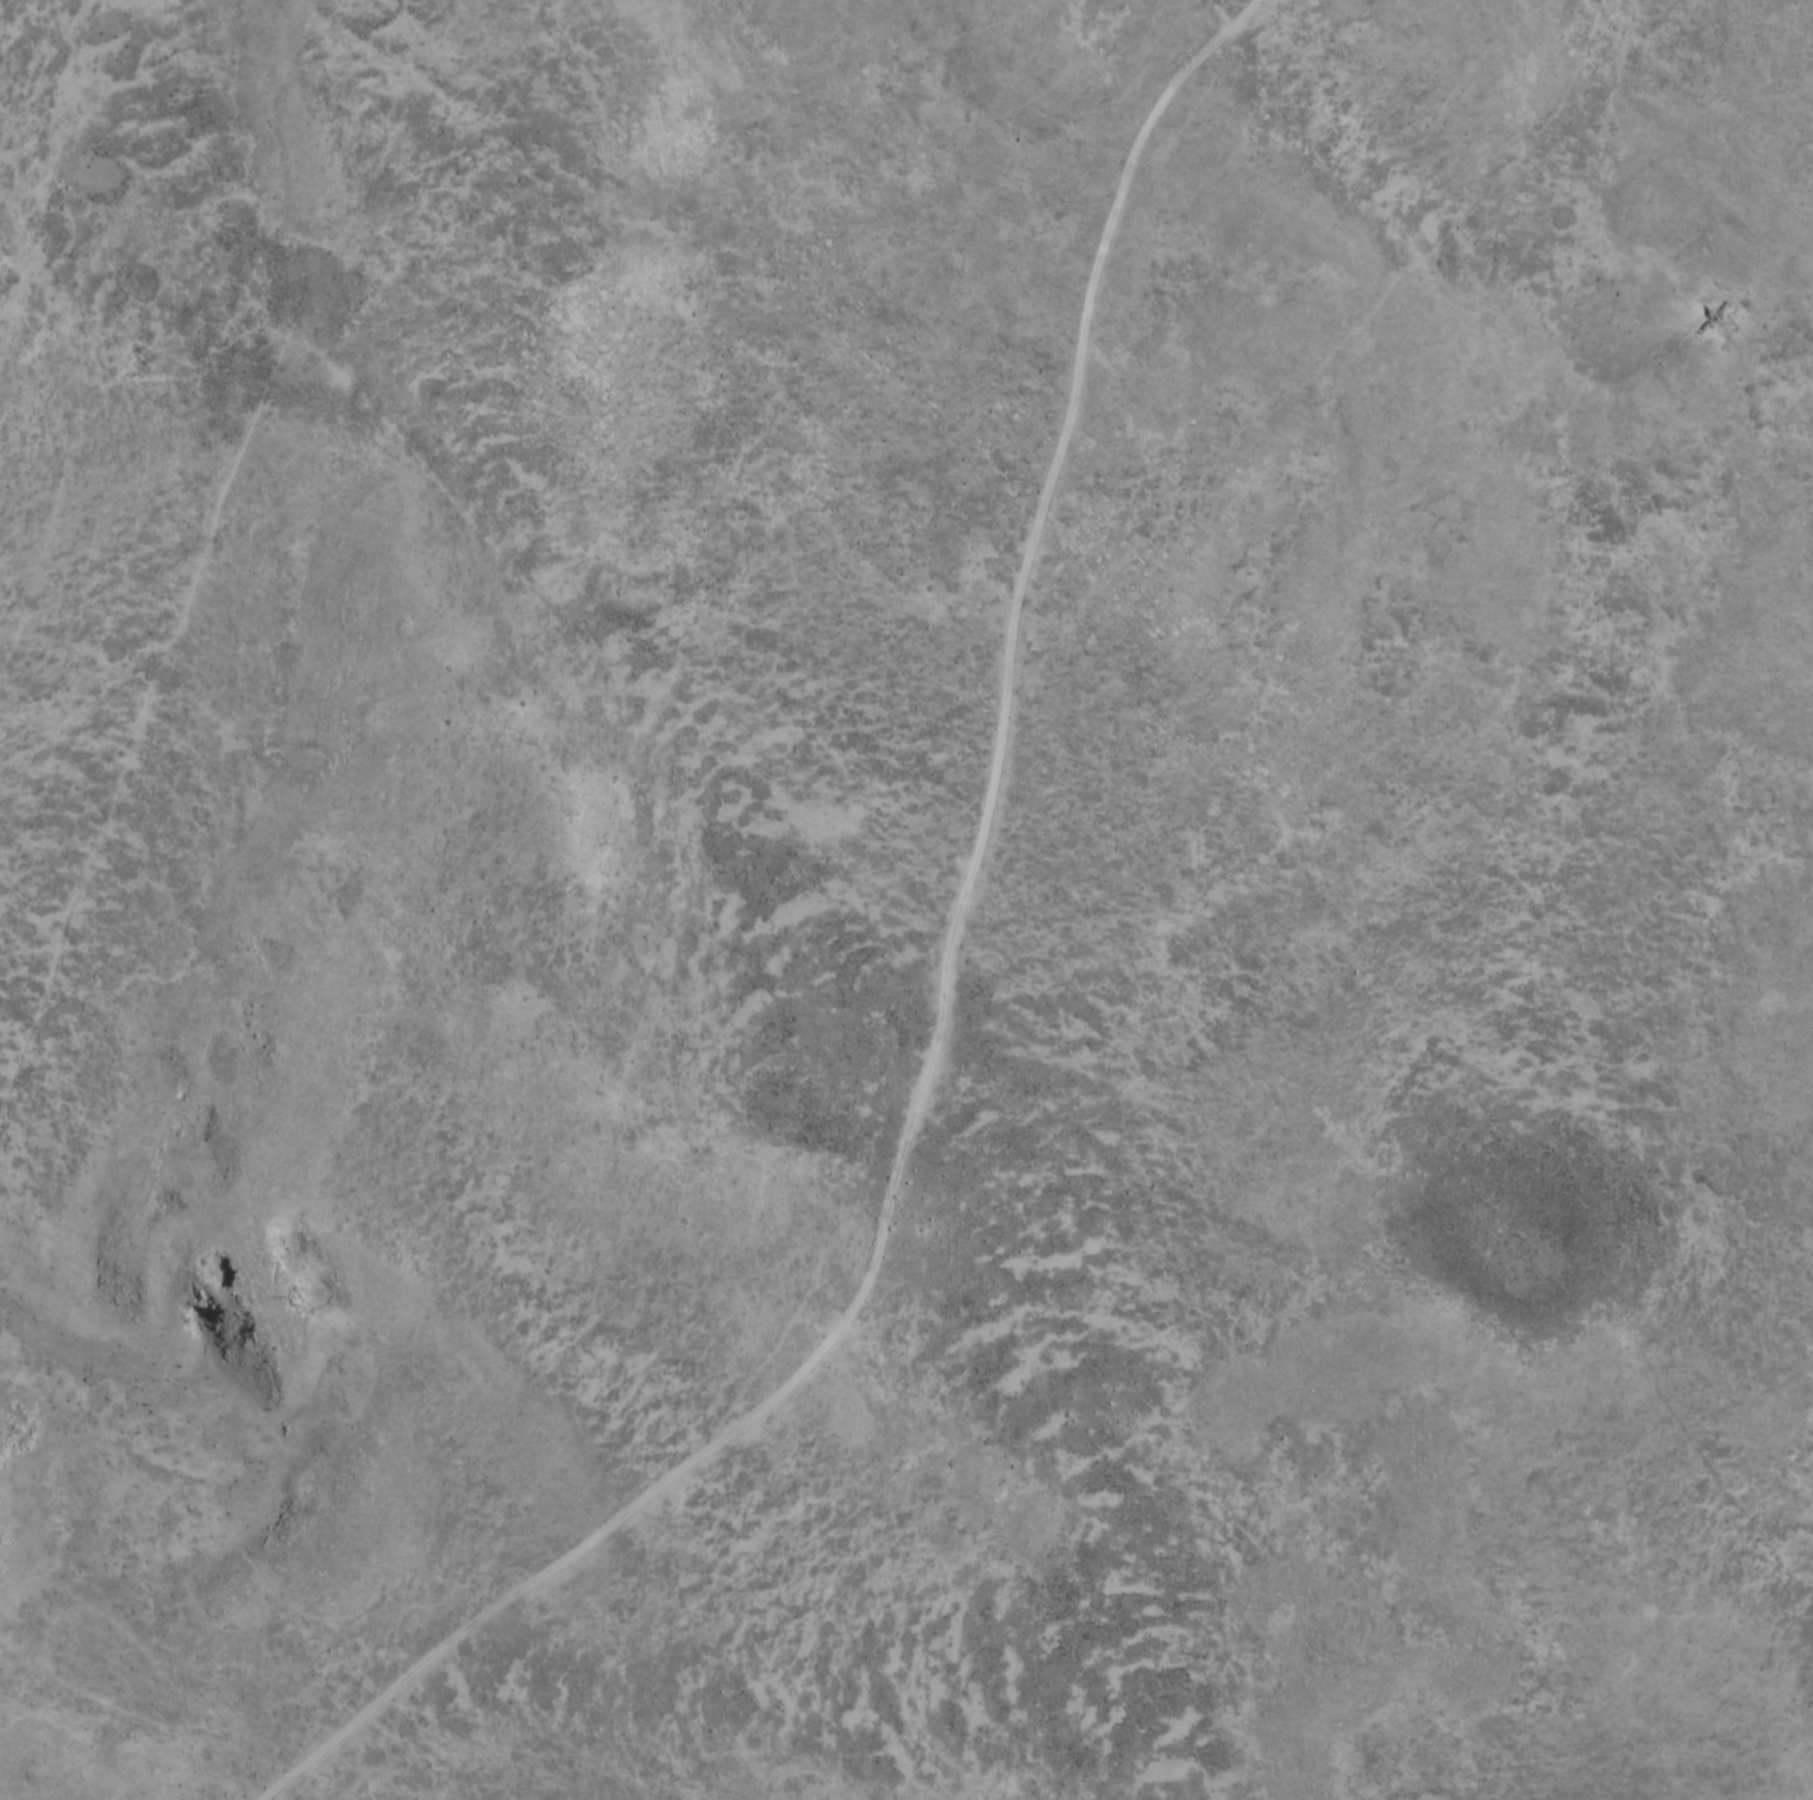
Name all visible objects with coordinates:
road: (939, 1012)

